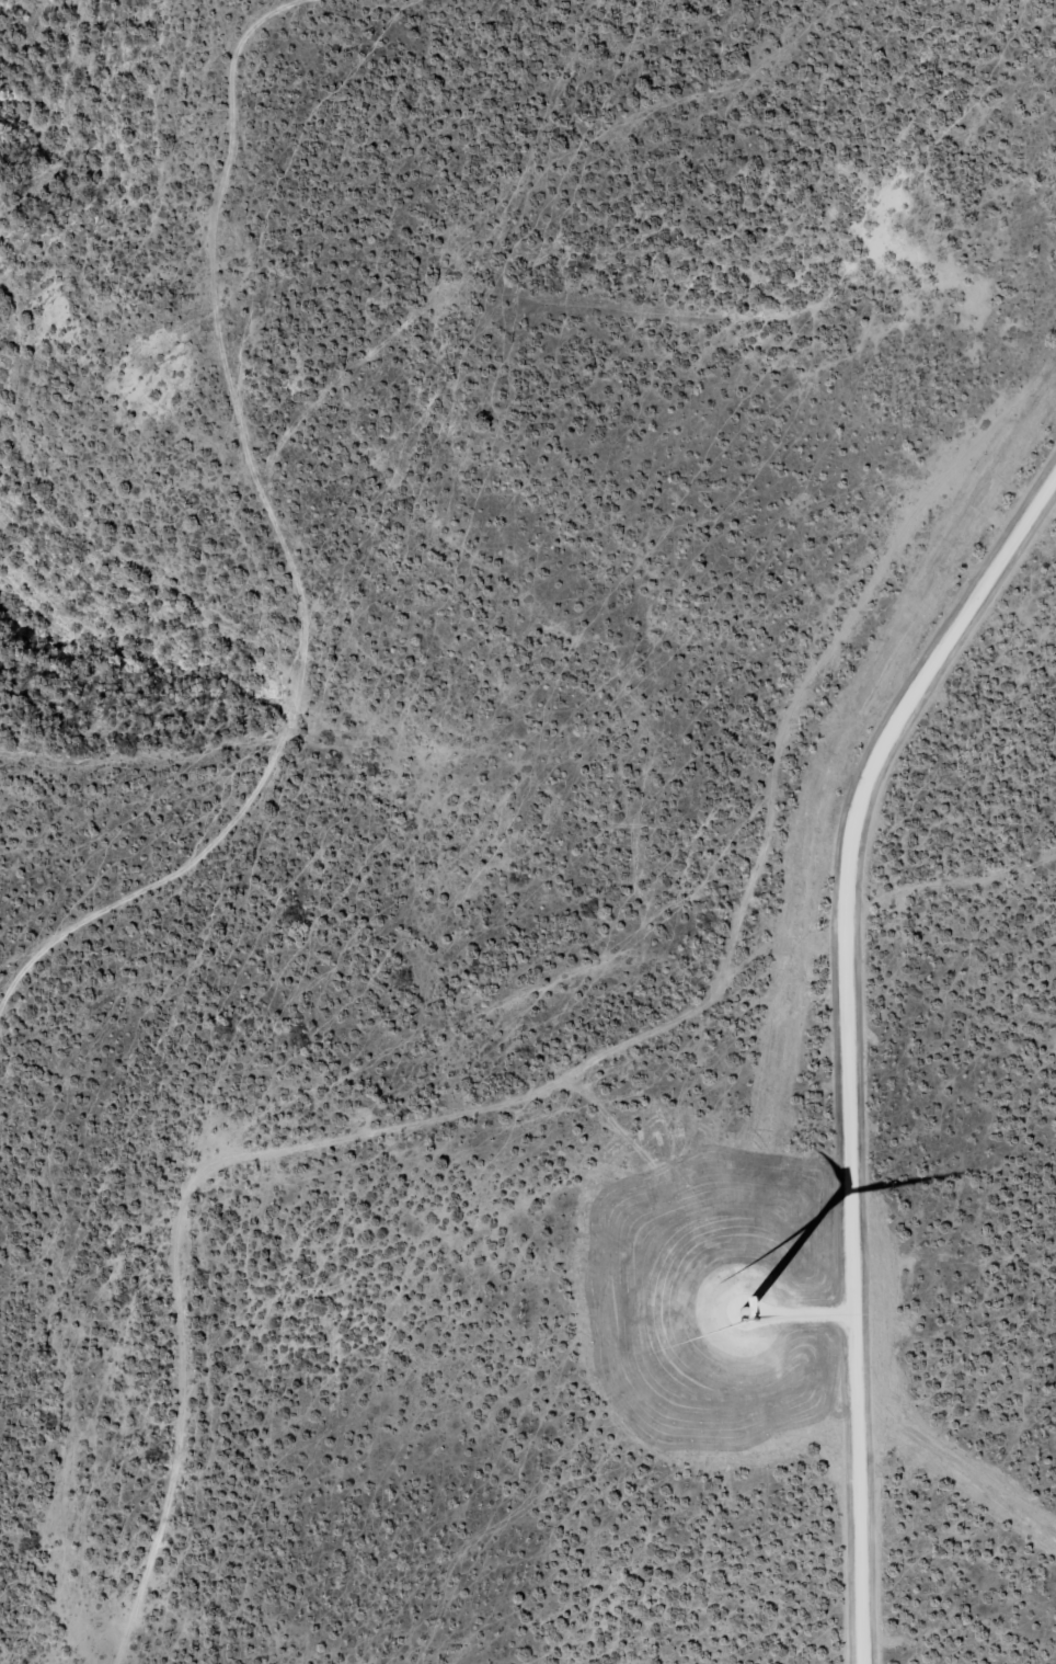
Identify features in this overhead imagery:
wind turbine: (746, 1307)

